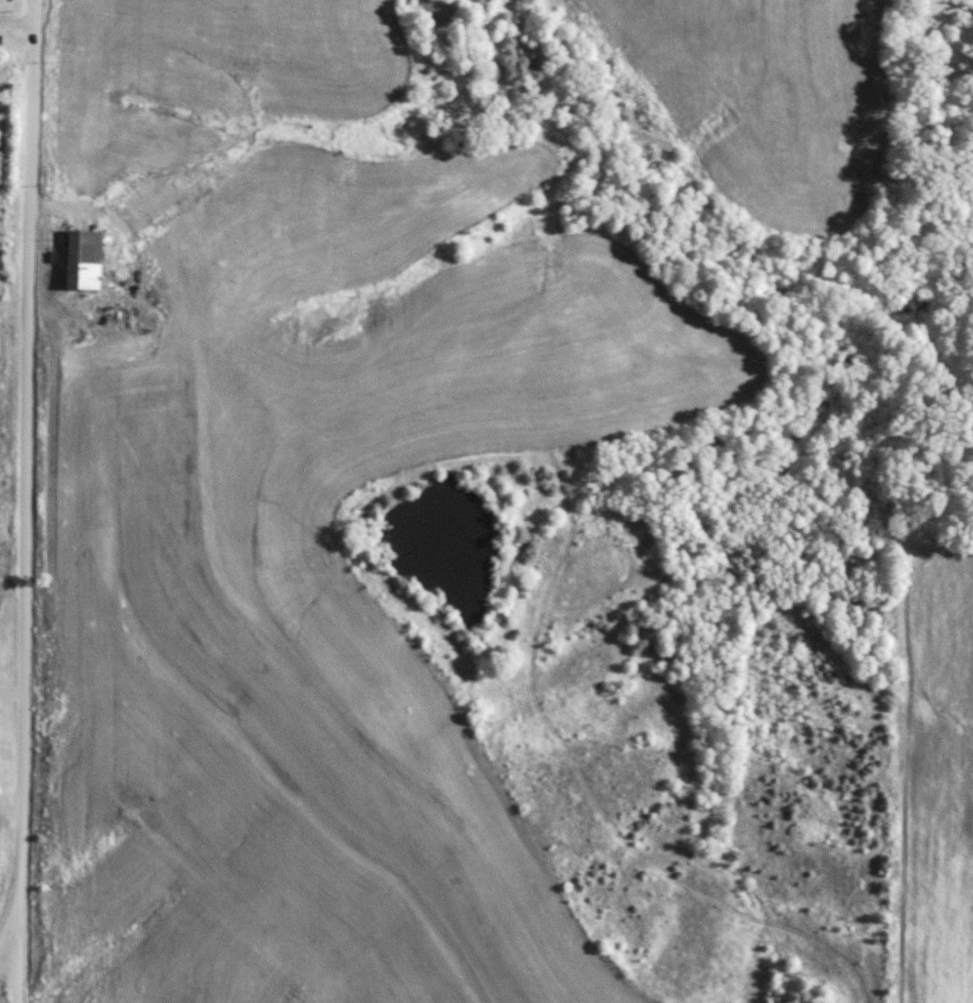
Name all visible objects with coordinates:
building: (83, 259)
road: (43, 501)

